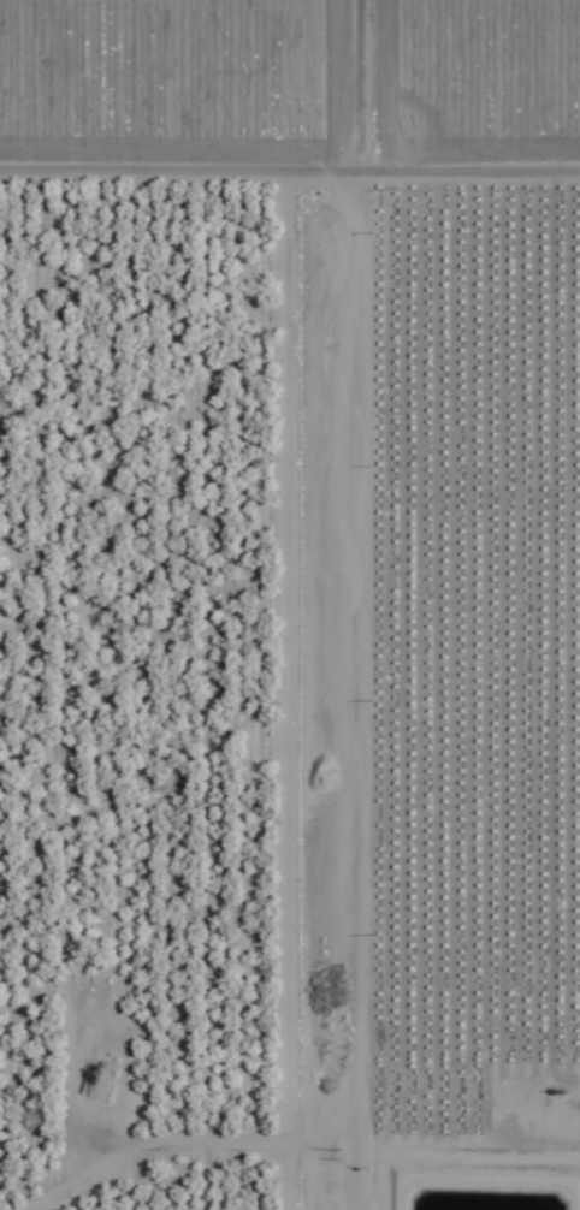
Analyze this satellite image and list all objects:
crop: (290, 94)
road: (289, 117)
road: (312, 604)

